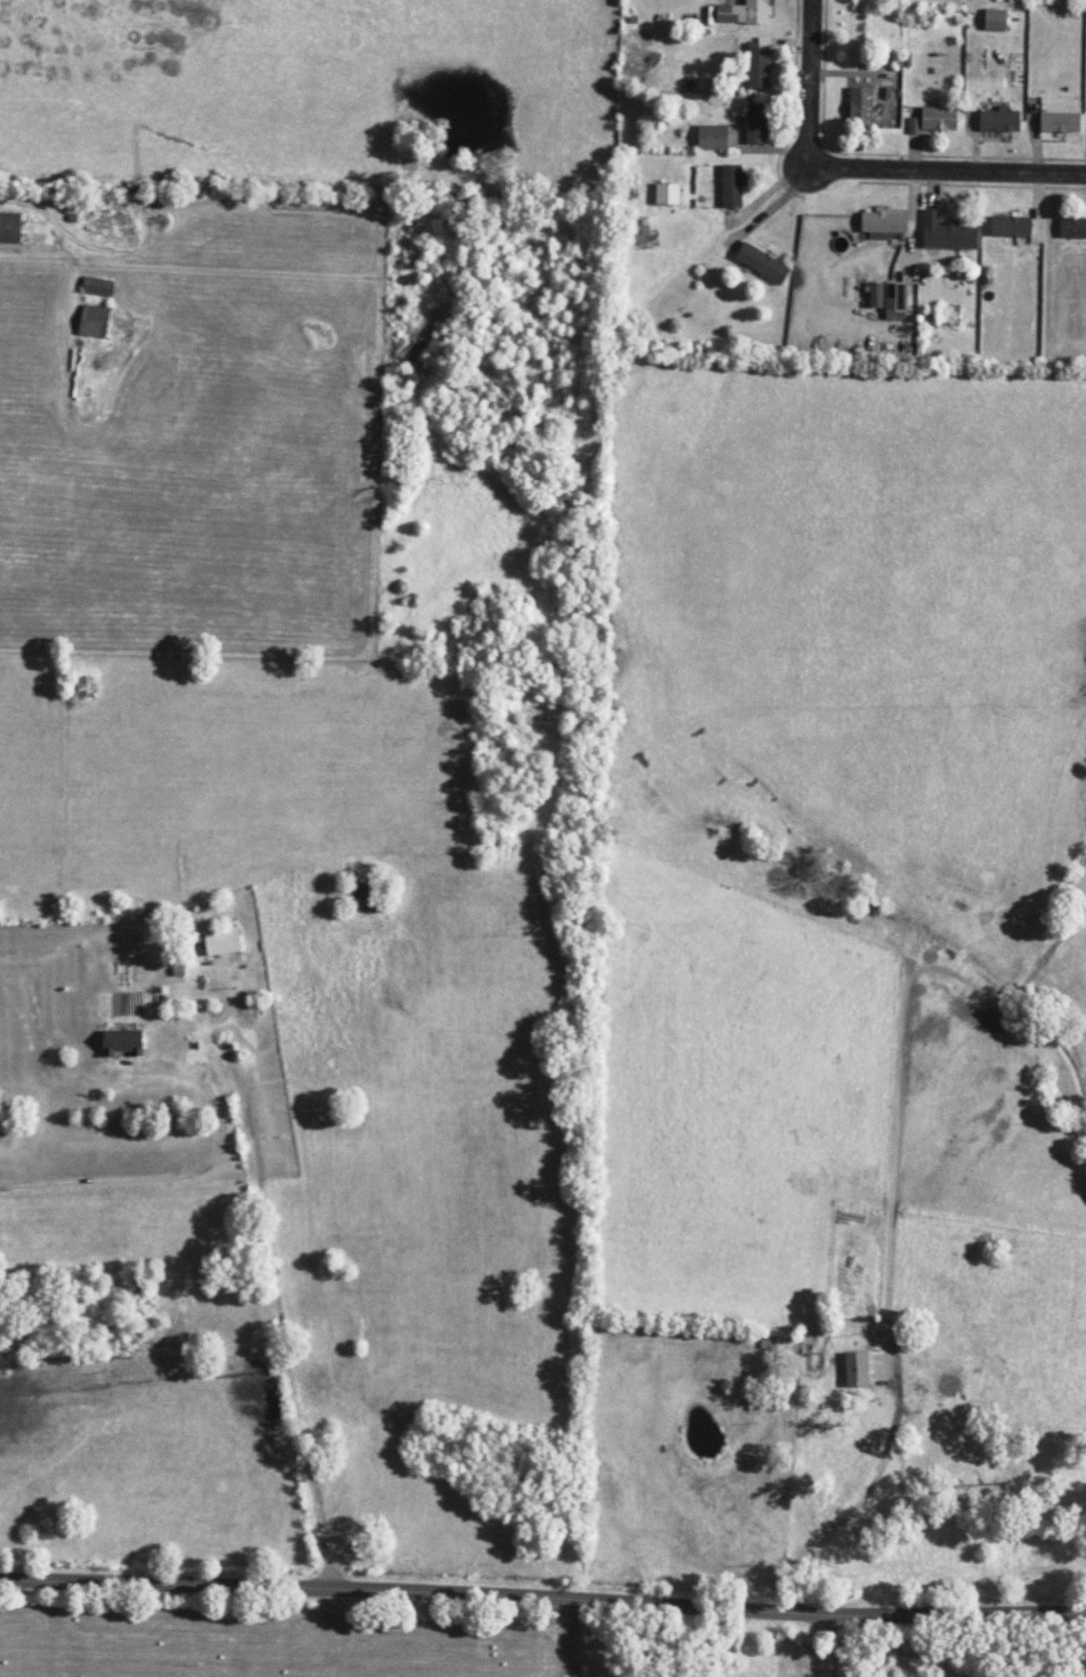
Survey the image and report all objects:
building: (743, 12)
building: (994, 20)
building: (756, 65)
building: (859, 107)
building: (933, 120)
building: (997, 120)
building: (1059, 121)
building: (756, 124)
building: (711, 137)
road: (868, 164)
building: (731, 186)
building: (666, 194)
building: (881, 224)
building: (1008, 225)
building: (9, 228)
building: (1072, 228)
building: (945, 233)
building: (760, 264)
building: (888, 300)
building: (92, 321)
building: (221, 943)
building: (121, 1043)
road: (188, 1172)
road: (271, 1303)
building: (854, 1369)
road: (542, 1597)

